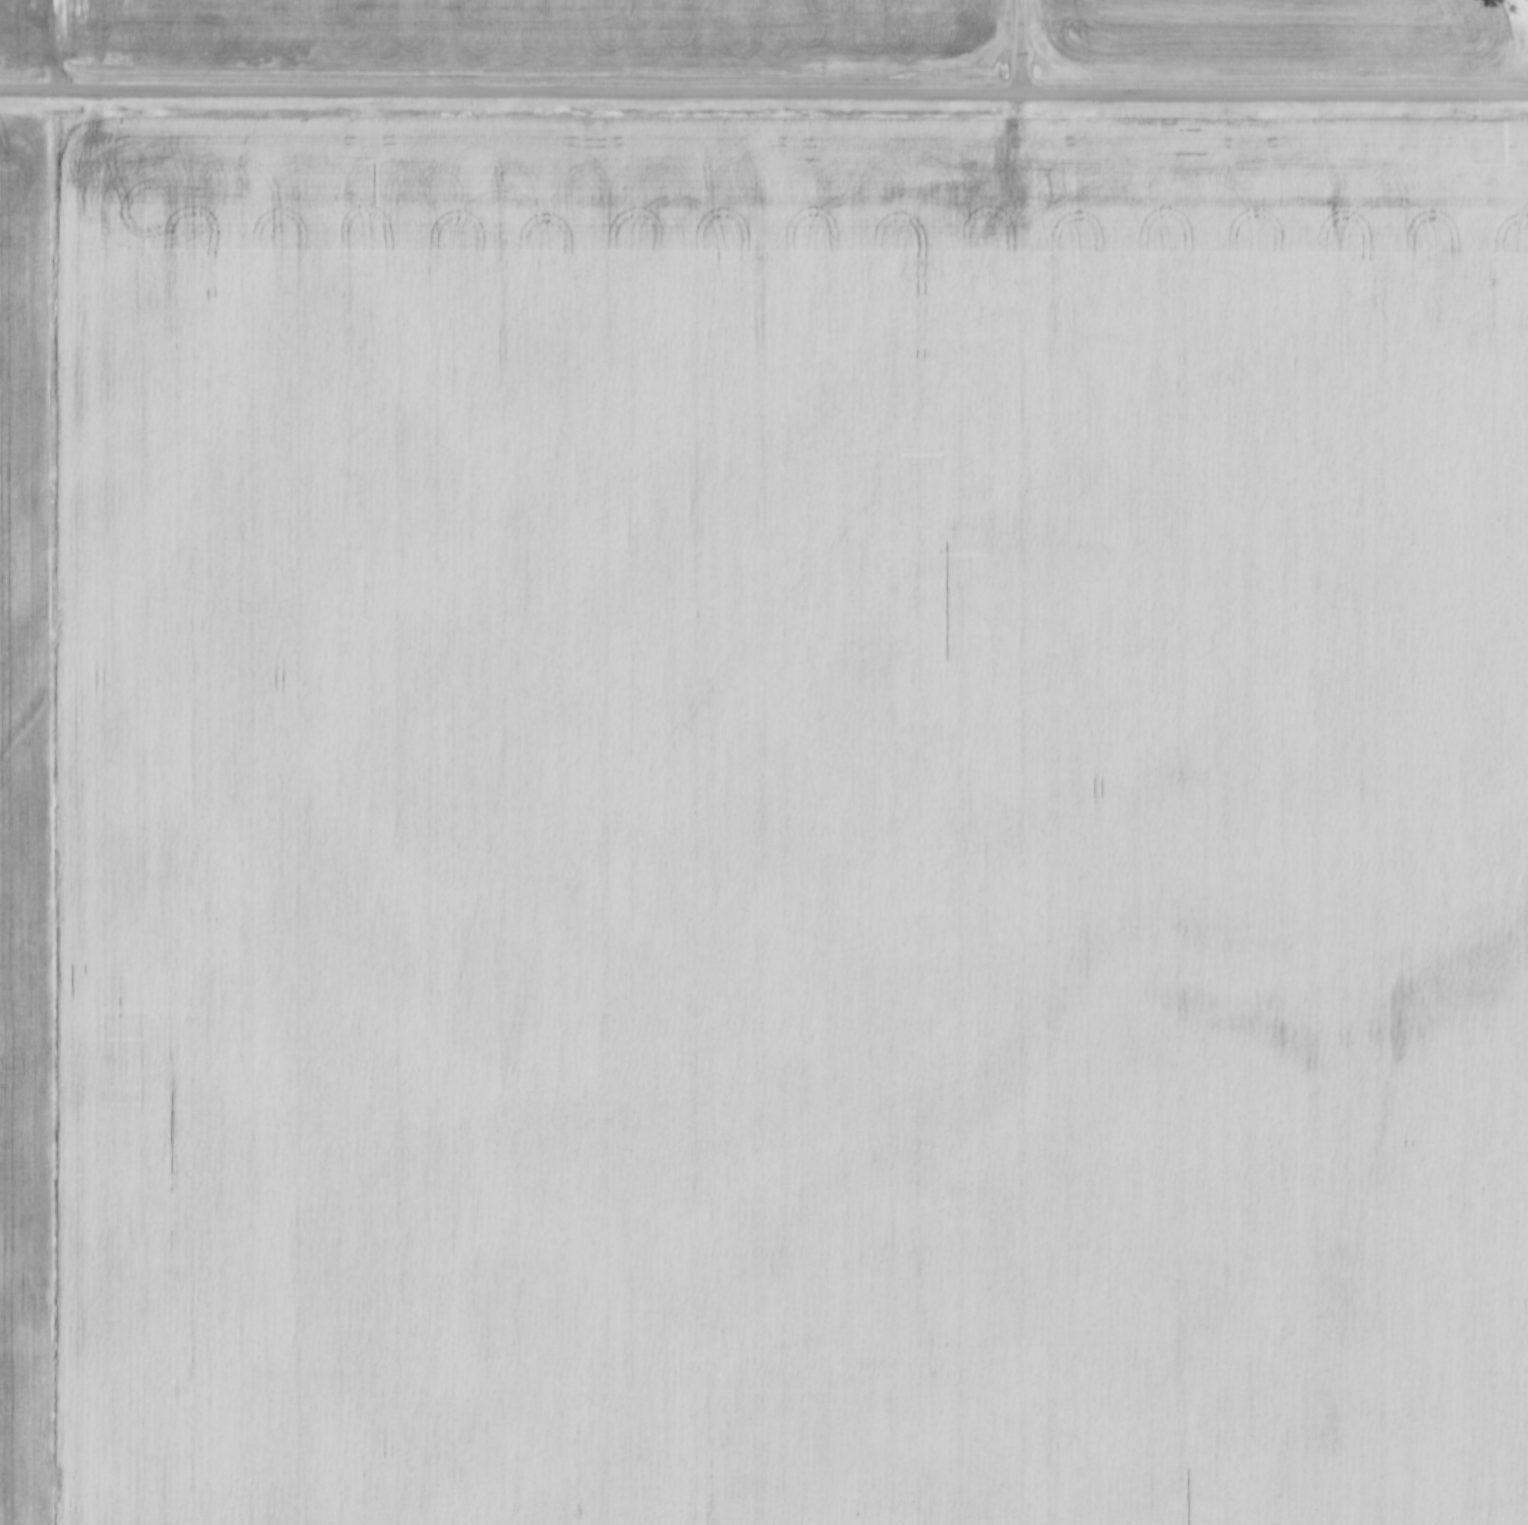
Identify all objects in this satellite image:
road: (1019, 49)
road: (764, 97)

